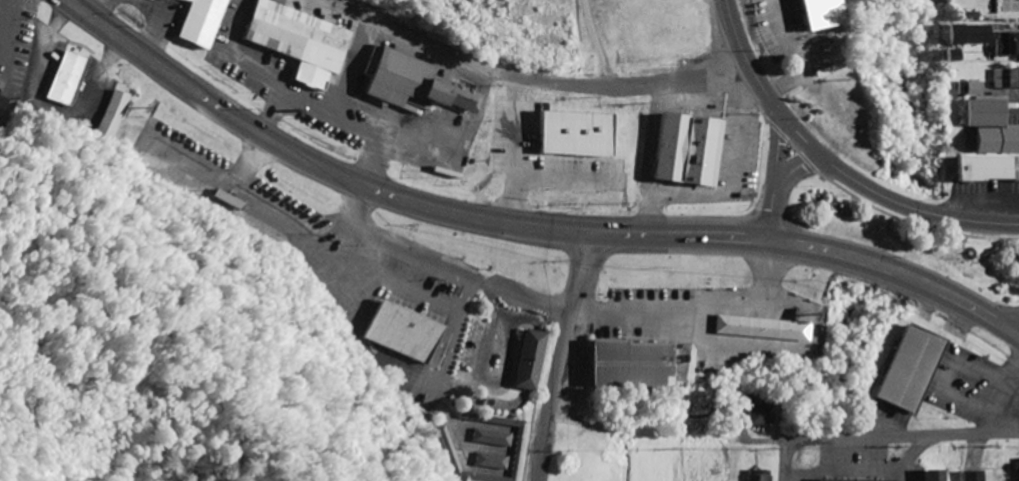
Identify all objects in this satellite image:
building: (821, 15)
building: (203, 22)
building: (984, 38)
building: (304, 45)
road: (739, 48)
road: (533, 78)
building: (67, 79)
building: (420, 85)
building: (974, 90)
road: (771, 103)
building: (112, 113)
building: (991, 127)
building: (499, 140)
building: (570, 145)
road: (778, 148)
building: (690, 151)
road: (797, 166)
building: (987, 170)
road: (886, 198)
road: (774, 209)
road: (452, 212)
park: (908, 237)
fountain: (969, 253)
road: (956, 296)
building: (761, 329)
building: (404, 332)
road: (555, 355)
building: (530, 361)
building: (633, 365)
building: (911, 370)
building: (758, 414)
road: (882, 434)
road: (786, 459)
building: (580, 475)
building: (935, 476)
building: (974, 476)
building: (759, 477)

